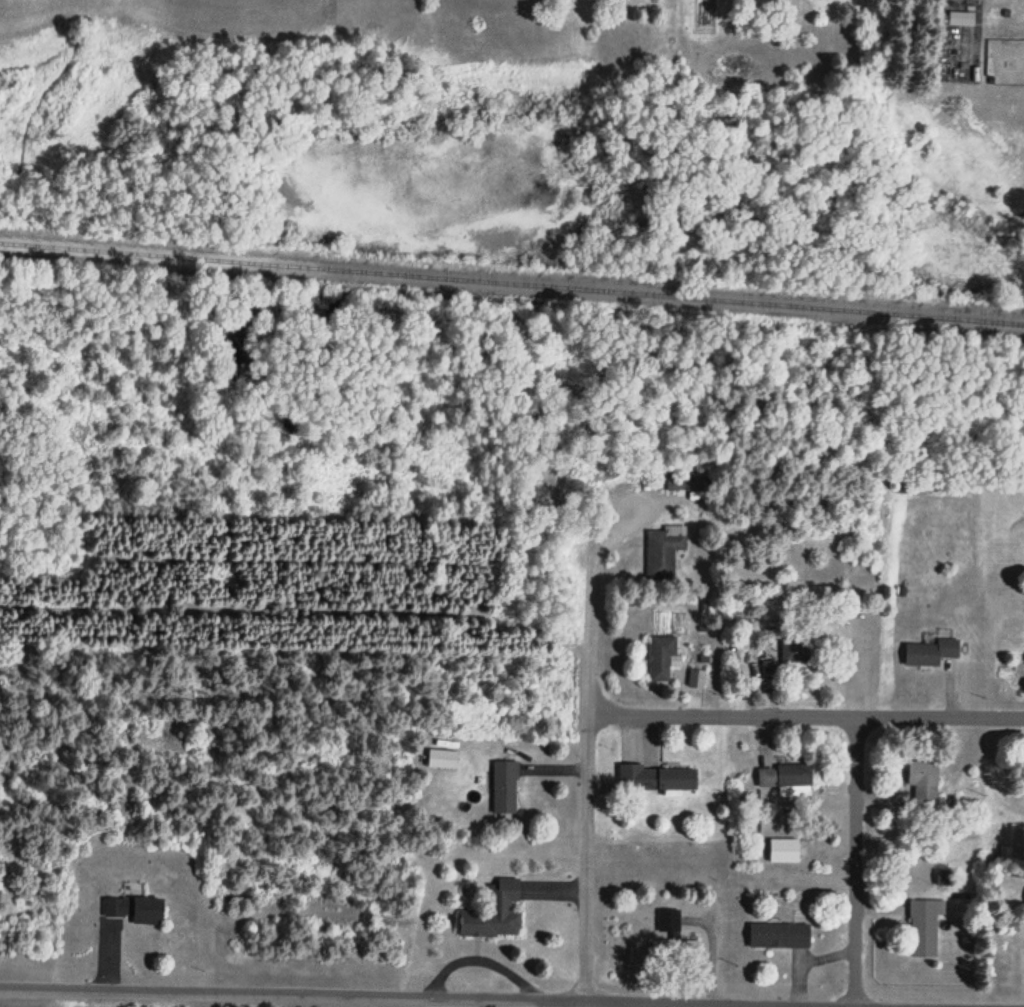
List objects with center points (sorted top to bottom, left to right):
railway: (512, 281)
building: (678, 481)
building: (664, 551)
building: (795, 652)
building: (931, 653)
building: (662, 660)
building: (697, 679)
road: (804, 714)
road: (584, 770)
building: (769, 776)
building: (657, 779)
building: (795, 780)
building: (925, 783)
building: (505, 788)
building: (785, 851)
road: (852, 860)
building: (945, 878)
building: (115, 908)
building: (149, 911)
building: (495, 913)
building: (924, 929)
building: (780, 936)
building: (676, 937)
road: (471, 996)

